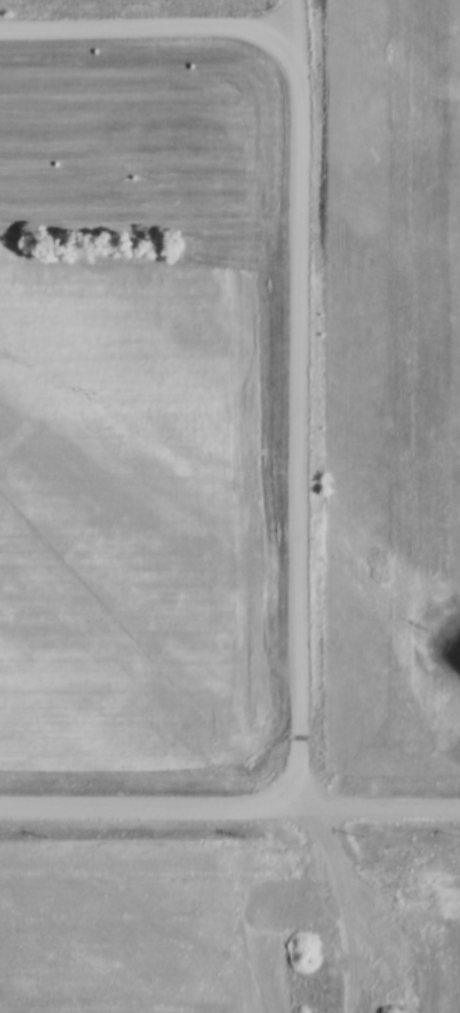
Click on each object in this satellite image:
road: (346, 405)
road: (230, 809)
road: (340, 911)

